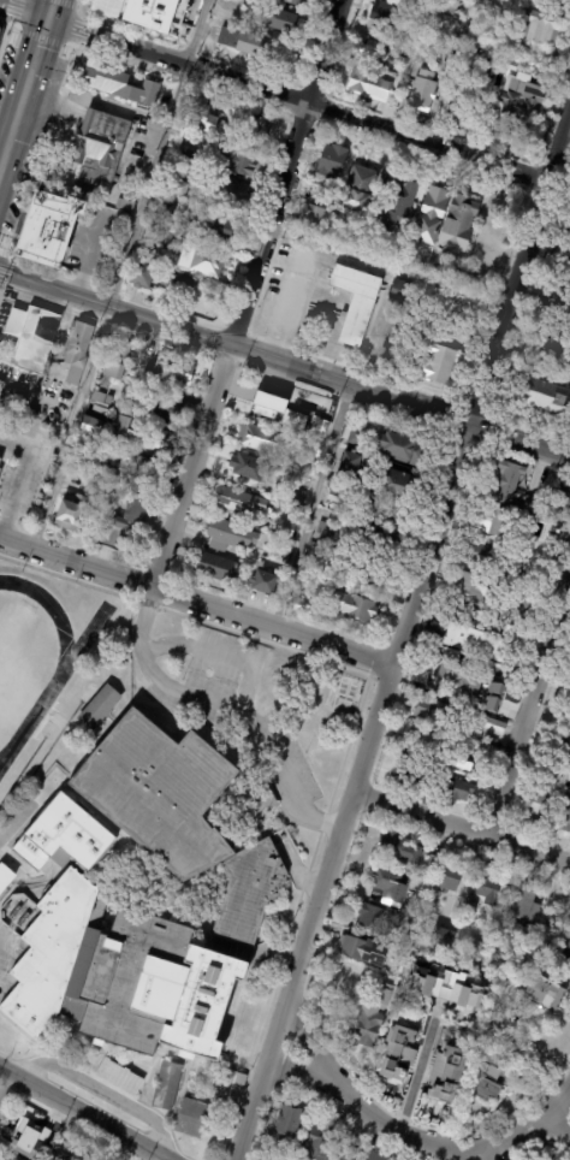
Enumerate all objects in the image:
building: (411, 1)
building: (488, 1)
building: (293, 4)
building: (449, 7)
road: (24, 12)
building: (149, 14)
building: (392, 18)
traffic signals: (49, 20)
building: (274, 20)
building: (540, 29)
building: (0, 31)
building: (244, 45)
building: (402, 51)
building: (473, 53)
building: (375, 54)
building: (421, 55)
building: (464, 70)
road: (449, 72)
building: (491, 72)
building: (109, 79)
road: (29, 81)
building: (374, 89)
building: (423, 94)
building: (132, 95)
building: (160, 95)
building: (523, 100)
road: (299, 103)
building: (142, 105)
building: (231, 105)
building: (463, 105)
railway: (34, 107)
building: (201, 116)
building: (259, 132)
building: (100, 149)
building: (173, 153)
building: (196, 158)
building: (234, 160)
building: (333, 161)
road: (1, 168)
building: (313, 173)
building: (174, 188)
building: (361, 188)
building: (227, 197)
building: (398, 203)
building: (126, 205)
building: (166, 206)
building: (434, 214)
building: (319, 218)
building: (363, 223)
building: (461, 223)
building: (222, 227)
building: (52, 230)
building: (165, 239)
building: (203, 260)
road: (390, 267)
road: (119, 274)
building: (159, 278)
building: (470, 278)
road: (519, 279)
building: (404, 291)
road: (245, 294)
building: (357, 297)
building: (562, 303)
building: (30, 337)
building: (81, 345)
road: (234, 347)
building: (553, 348)
building: (118, 360)
building: (438, 363)
building: (560, 367)
building: (174, 372)
building: (139, 384)
road: (22, 389)
building: (72, 395)
building: (548, 397)
building: (103, 398)
building: (65, 408)
building: (166, 409)
building: (100, 410)
building: (278, 410)
building: (320, 426)
building: (94, 428)
building: (284, 431)
building: (143, 437)
building: (358, 438)
building: (262, 439)
road: (519, 443)
building: (403, 448)
building: (315, 449)
building: (0, 460)
building: (100, 467)
building: (349, 467)
building: (251, 468)
building: (147, 469)
building: (510, 483)
building: (402, 486)
building: (338, 496)
building: (298, 498)
building: (560, 501)
building: (241, 502)
building: (533, 505)
road: (310, 508)
building: (298, 511)
building: (71, 513)
building: (390, 515)
building: (127, 523)
building: (501, 523)
building: (286, 529)
building: (544, 532)
building: (325, 534)
building: (231, 537)
building: (381, 543)
road: (428, 549)
building: (331, 556)
building: (485, 556)
building: (267, 560)
building: (219, 569)
building: (265, 584)
building: (476, 588)
road: (194, 602)
building: (296, 605)
building: (354, 608)
building: (471, 614)
building: (463, 633)
building: (475, 644)
road: (220, 656)
parking lot: (221, 665)
building: (499, 673)
track: (58, 675)
building: (452, 679)
building: (499, 692)
building: (492, 697)
building: (474, 699)
road: (527, 699)
building: (96, 705)
road: (221, 710)
building: (437, 712)
building: (494, 727)
building: (565, 744)
building: (438, 750)
building: (488, 753)
parking lot: (283, 770)
building: (463, 792)
building: (540, 805)
building: (178, 816)
building: (565, 817)
road: (14, 821)
road: (464, 824)
building: (60, 835)
building: (402, 850)
building: (434, 864)
building: (5, 876)
building: (451, 878)
building: (390, 888)
building: (488, 890)
building: (524, 906)
road: (311, 915)
building: (548, 921)
building: (381, 922)
building: (527, 934)
building: (444, 940)
parking lot: (5, 943)
building: (480, 952)
building: (364, 953)
building: (568, 957)
building: (569, 964)
building: (118, 975)
building: (340, 988)
building: (449, 989)
building: (541, 994)
building: (498, 1024)
building: (368, 1029)
building: (399, 1058)
building: (119, 1075)
road: (415, 1075)
building: (450, 1078)
building: (488, 1079)
building: (162, 1084)
road: (10, 1091)
building: (227, 1091)
building: (530, 1091)
road: (101, 1095)
building: (189, 1114)
road: (81, 1115)
road: (367, 1119)
road: (560, 1120)
building: (289, 1123)
road: (538, 1123)
building: (18, 1132)
building: (319, 1144)
building: (346, 1153)
building: (58, 1155)
building: (79, 1156)
building: (376, 1156)
building: (275, 1158)
building: (10, 1159)
building: (14, 1159)
building: (40, 1159)
building: (271, 1159)
building: (529, 1159)
building: (535, 1159)

